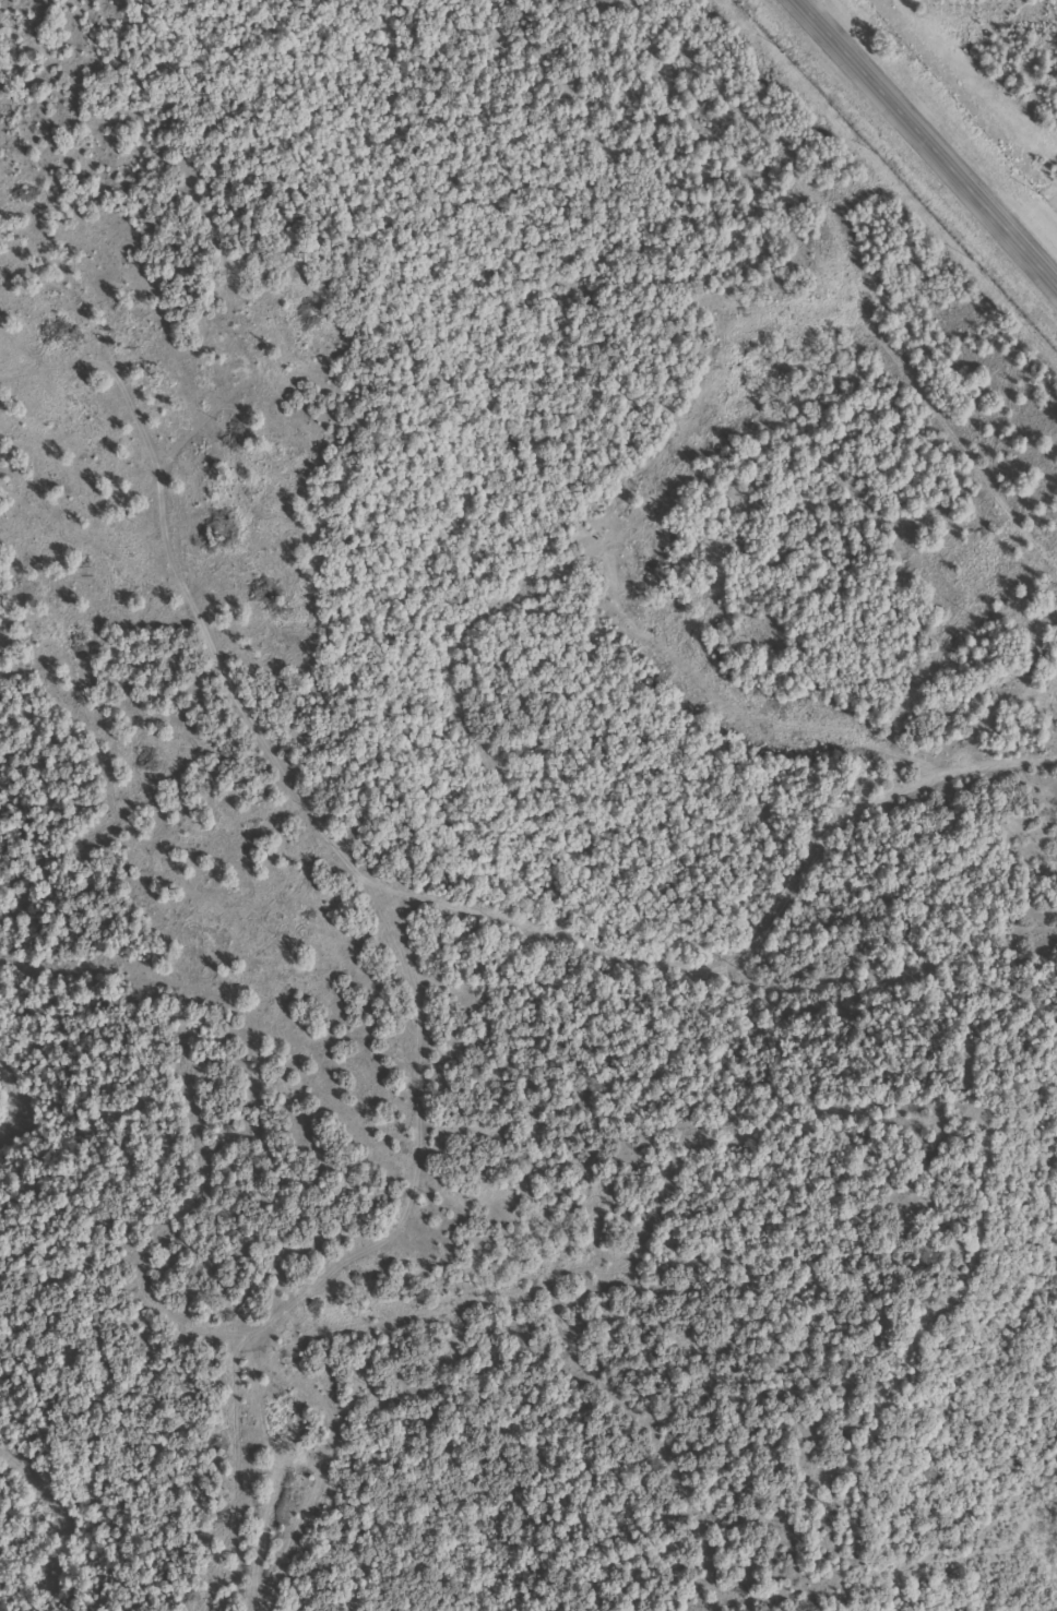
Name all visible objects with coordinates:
road: (919, 146)

